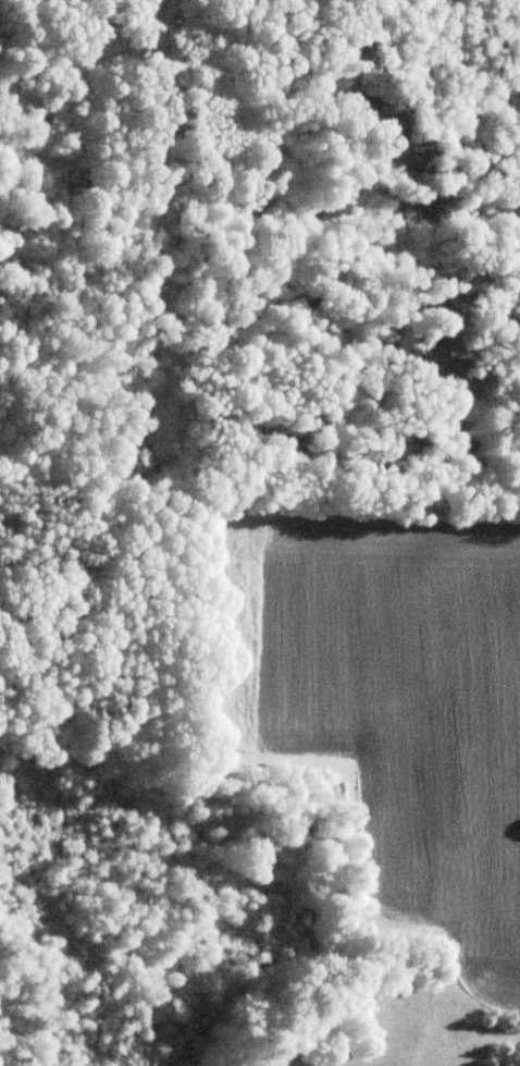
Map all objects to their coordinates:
road: (507, 1053)

